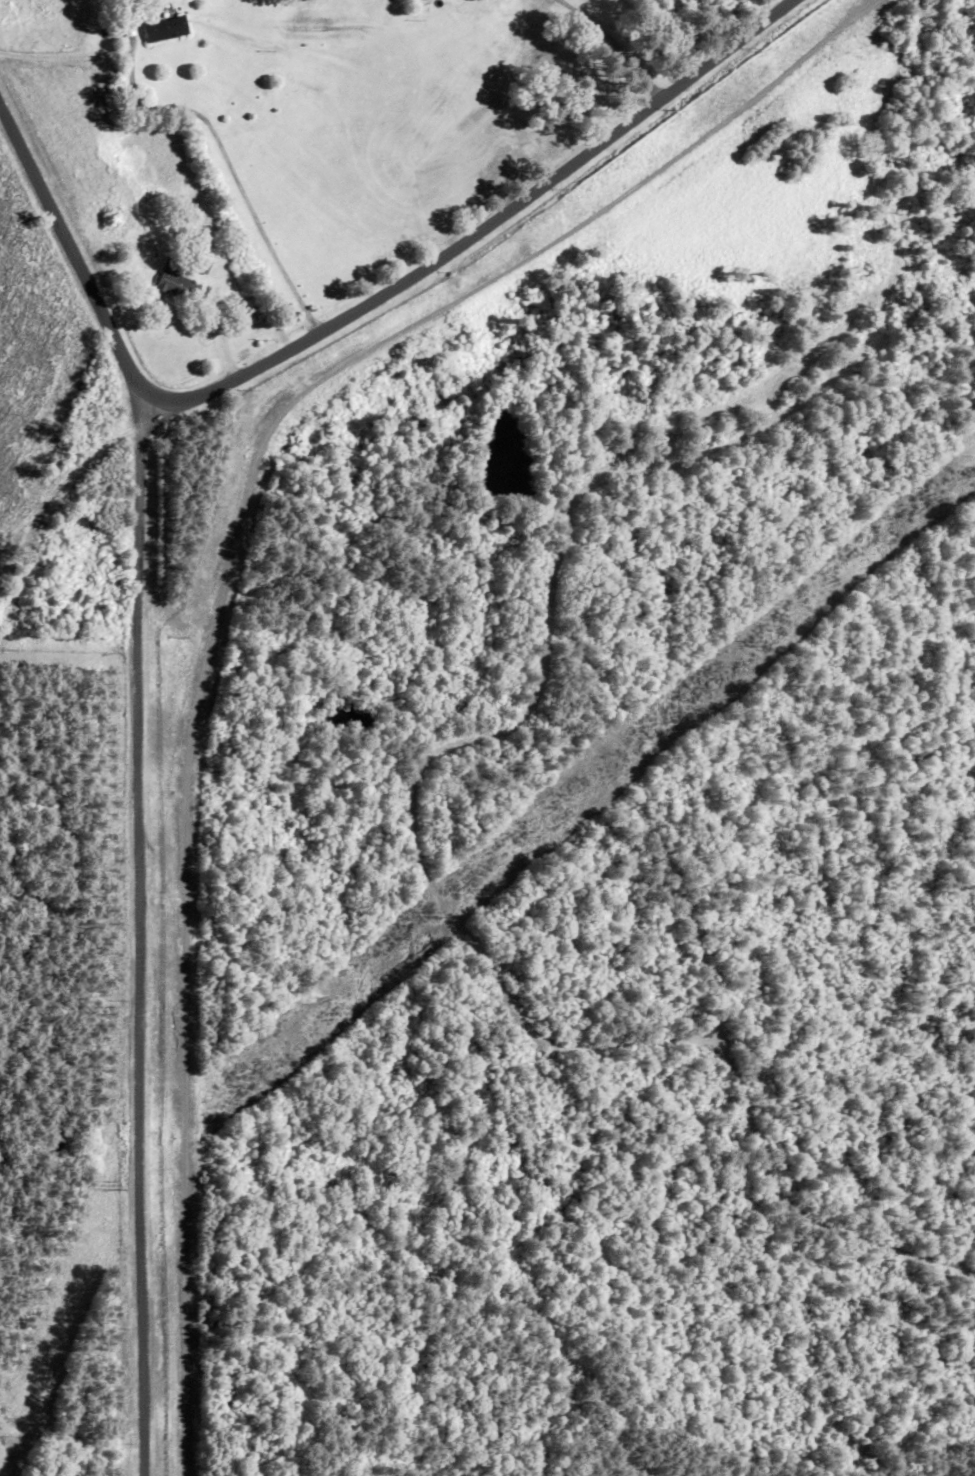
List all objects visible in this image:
building: (167, 28)
road: (617, 45)
road: (199, 118)
road: (486, 225)
road: (74, 244)
building: (202, 266)
building: (177, 283)
road: (143, 932)

